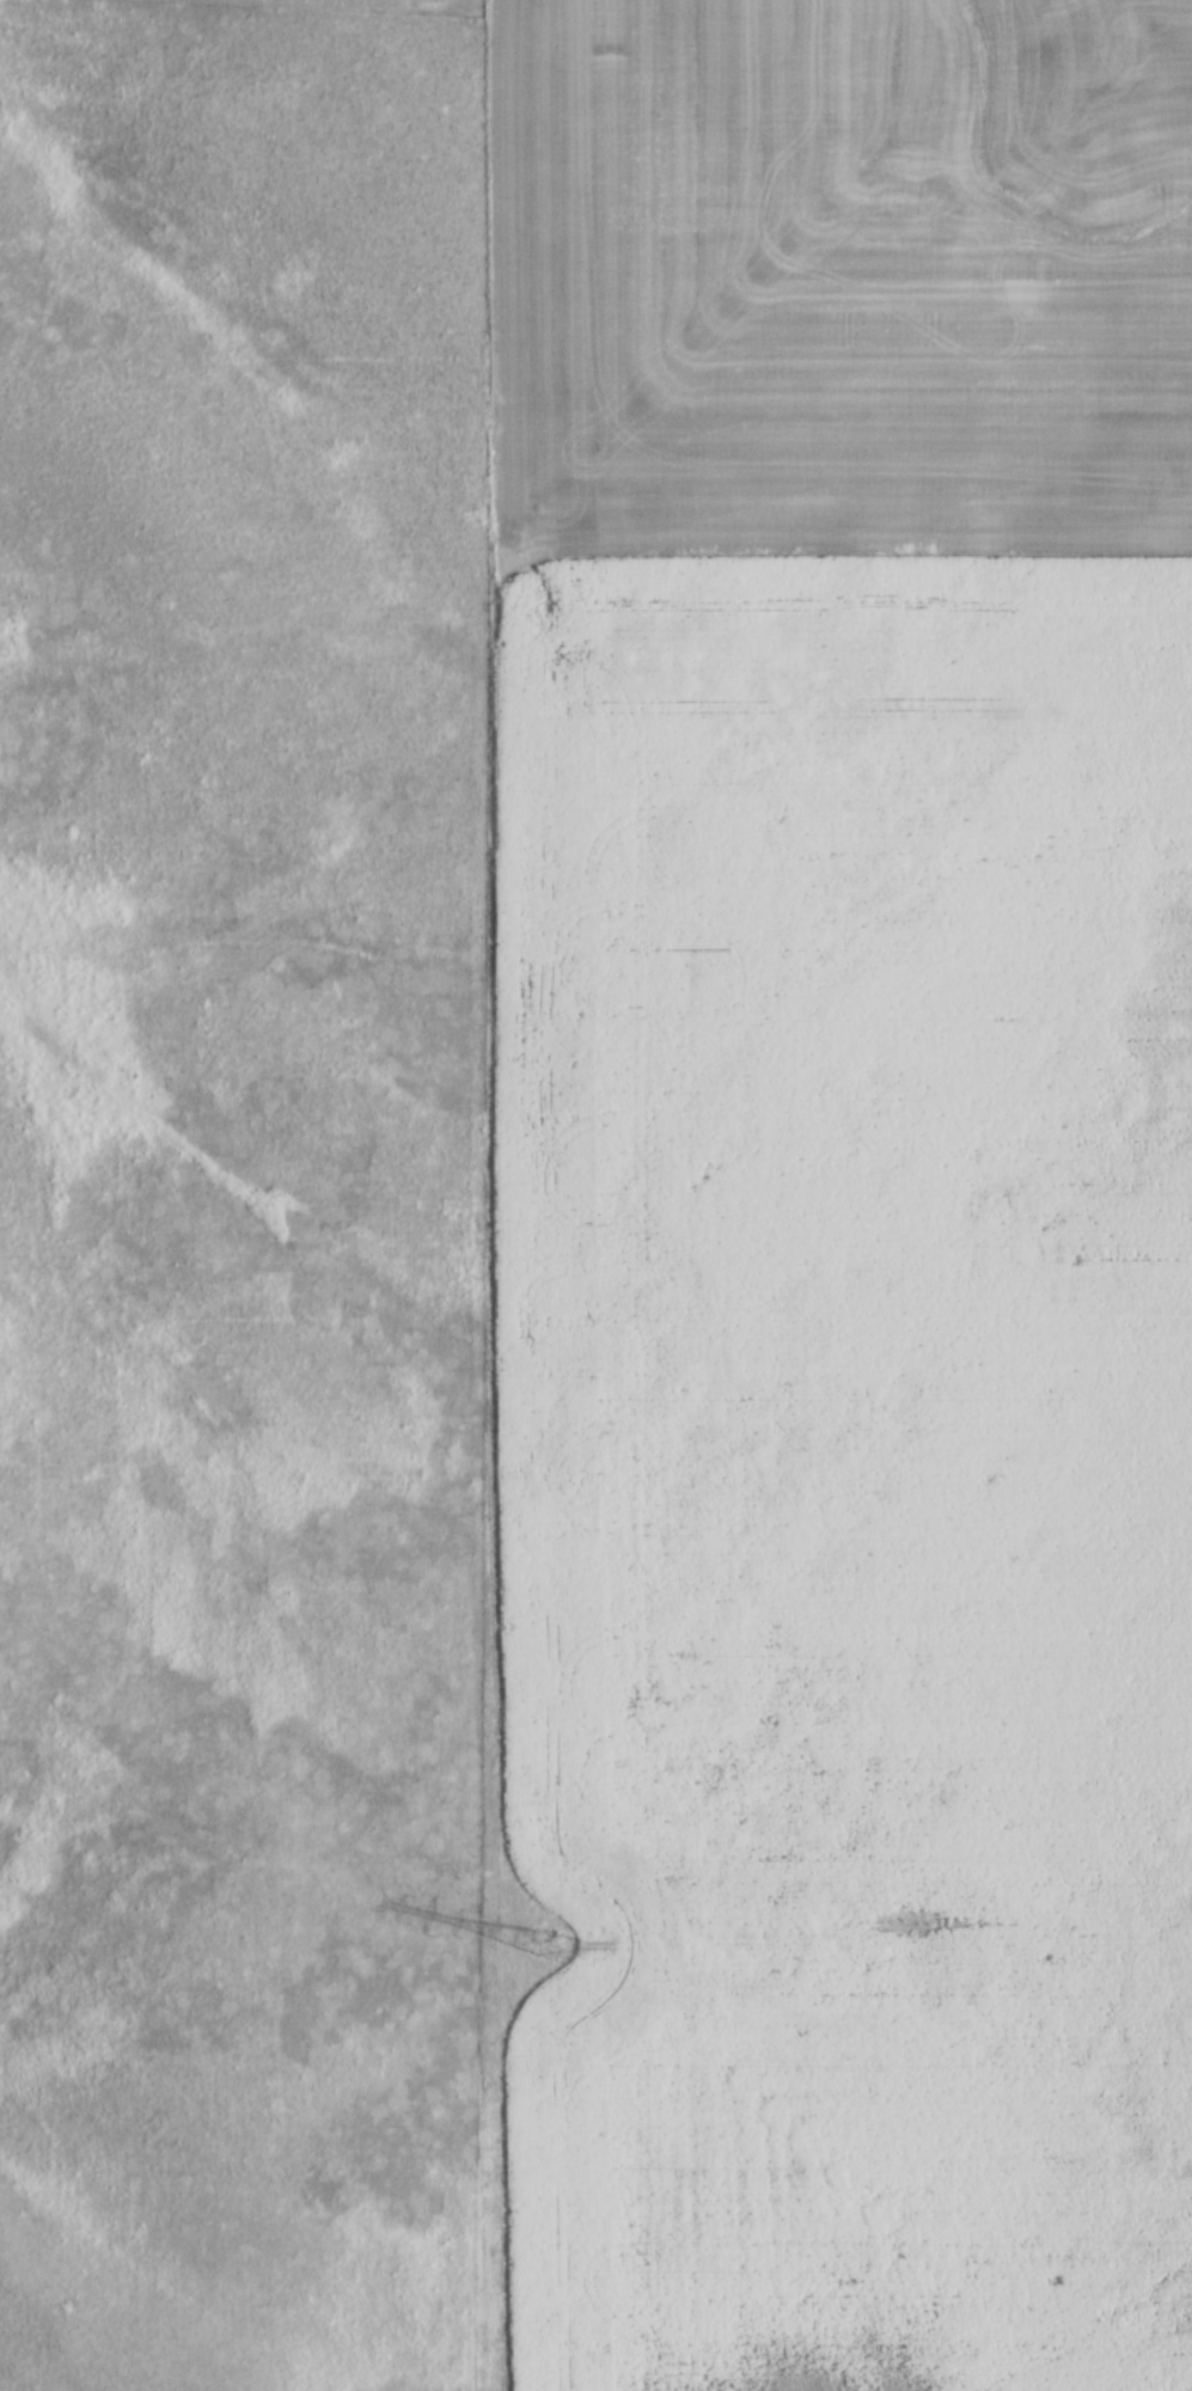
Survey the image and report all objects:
power tower: (548, 1941)

